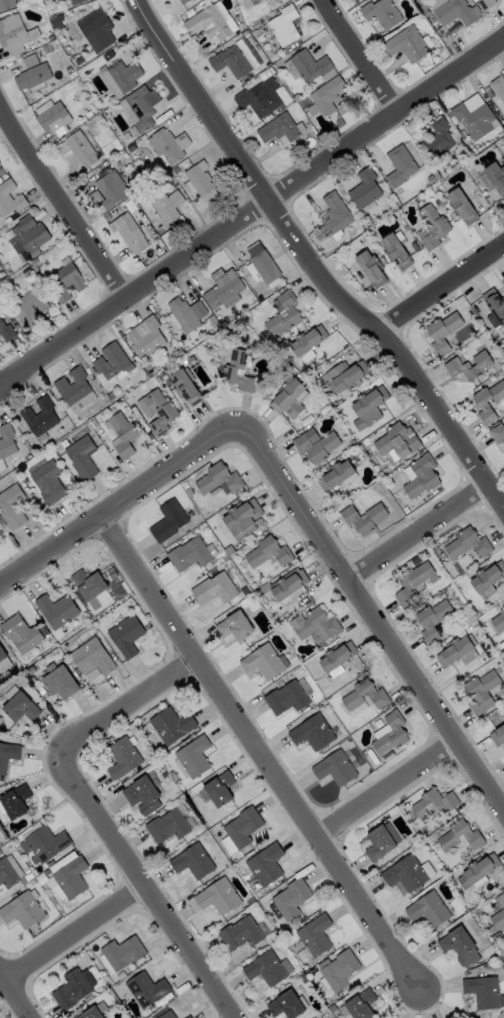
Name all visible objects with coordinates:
building: (75, 1)
building: (182, 1)
building: (250, 2)
building: (6, 3)
building: (486, 3)
building: (455, 10)
building: (381, 12)
building: (210, 21)
building: (284, 25)
building: (95, 29)
building: (12, 34)
building: (407, 44)
building: (46, 48)
road: (357, 55)
building: (236, 58)
building: (29, 60)
building: (308, 67)
building: (32, 76)
building: (121, 76)
building: (498, 87)
building: (326, 96)
building: (262, 97)
building: (140, 106)
building: (475, 116)
building: (53, 118)
building: (280, 128)
building: (438, 139)
building: (168, 145)
building: (76, 148)
building: (400, 165)
building: (496, 177)
building: (199, 183)
building: (364, 189)
building: (109, 190)
building: (9, 199)
road: (60, 206)
building: (163, 206)
building: (462, 206)
road: (253, 211)
building: (335, 213)
building: (443, 228)
building: (128, 233)
building: (26, 236)
building: (396, 251)
building: (262, 262)
road: (313, 263)
building: (372, 269)
building: (64, 280)
building: (502, 280)
building: (224, 289)
road: (445, 289)
building: (28, 307)
building: (494, 307)
building: (186, 314)
building: (283, 315)
building: (6, 332)
building: (433, 333)
building: (145, 336)
building: (308, 341)
building: (111, 362)
building: (467, 365)
building: (238, 373)
building: (343, 378)
building: (185, 386)
building: (75, 390)
building: (289, 398)
building: (481, 403)
building: (367, 407)
building: (158, 412)
building: (39, 417)
building: (497, 433)
building: (121, 434)
building: (396, 441)
building: (5, 444)
building: (314, 444)
building: (82, 458)
building: (334, 475)
building: (420, 476)
building: (217, 479)
building: (48, 482)
road: (121, 502)
building: (12, 507)
building: (240, 517)
building: (362, 517)
building: (167, 520)
road: (414, 529)
building: (479, 543)
building: (279, 551)
building: (189, 554)
building: (486, 576)
building: (412, 581)
building: (87, 583)
building: (286, 585)
building: (214, 588)
building: (55, 610)
building: (431, 621)
building: (498, 621)
road: (375, 624)
building: (314, 625)
building: (233, 626)
building: (19, 634)
building: (125, 635)
building: (457, 650)
building: (335, 657)
building: (91, 658)
building: (261, 662)
building: (3, 663)
building: (57, 681)
building: (480, 691)
building: (376, 695)
building: (285, 698)
building: (17, 705)
building: (502, 717)
building: (170, 725)
building: (311, 732)
building: (389, 733)
building: (498, 737)
building: (8, 754)
road: (262, 755)
building: (193, 756)
building: (121, 758)
building: (334, 769)
building: (218, 790)
road: (386, 792)
building: (140, 796)
building: (13, 801)
building: (433, 803)
road: (95, 814)
building: (167, 826)
building: (242, 828)
building: (471, 836)
building: (380, 842)
building: (43, 845)
building: (190, 862)
building: (265, 865)
building: (477, 871)
building: (9, 873)
building: (405, 874)
building: (69, 877)
building: (216, 897)
building: (289, 900)
building: (21, 910)
building: (428, 910)
building: (498, 914)
building: (240, 934)
road: (77, 936)
building: (314, 936)
building: (457, 945)
building: (123, 951)
building: (267, 969)
building: (338, 970)
building: (74, 987)
building: (148, 987)
road: (17, 991)
building: (483, 993)
building: (359, 1005)
building: (286, 1006)
building: (92, 1012)
building: (168, 1014)
building: (188, 1016)

